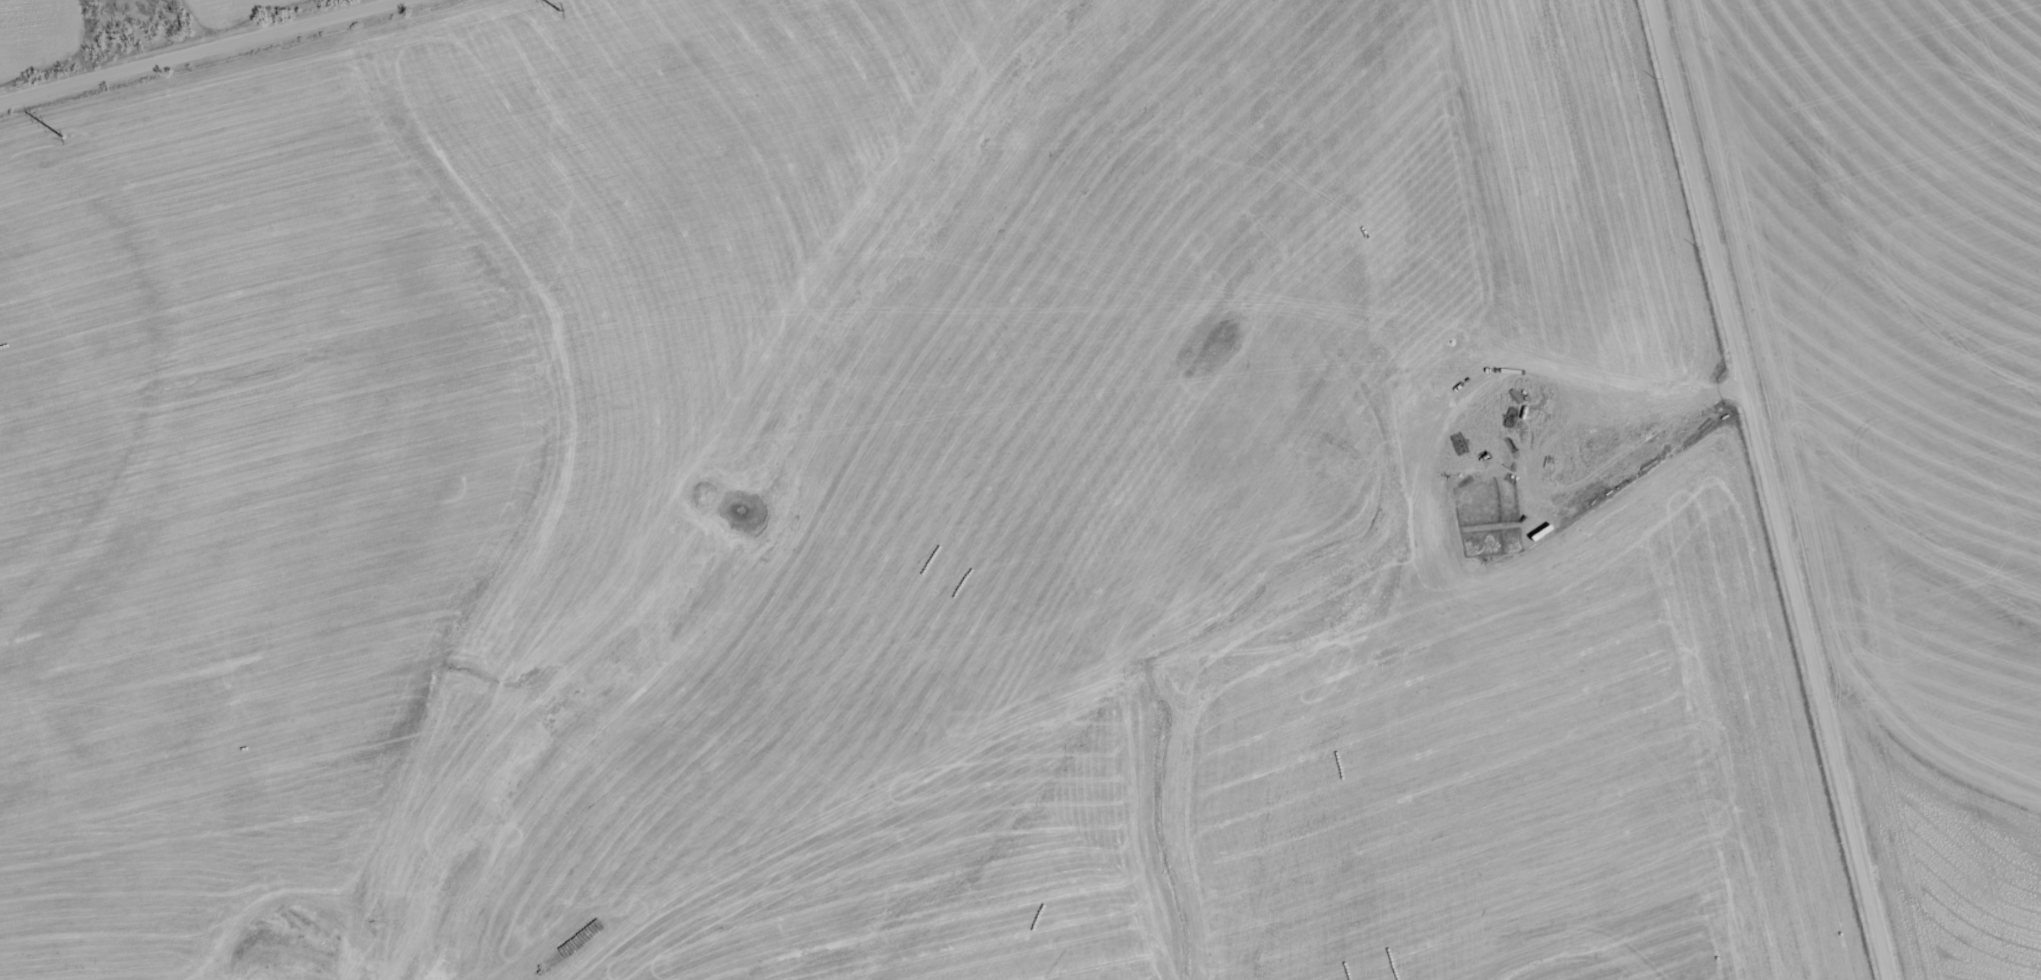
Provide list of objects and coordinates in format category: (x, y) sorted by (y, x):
power tower: (561, 10)
road: (236, 59)
power tower: (64, 136)
road: (1791, 490)

